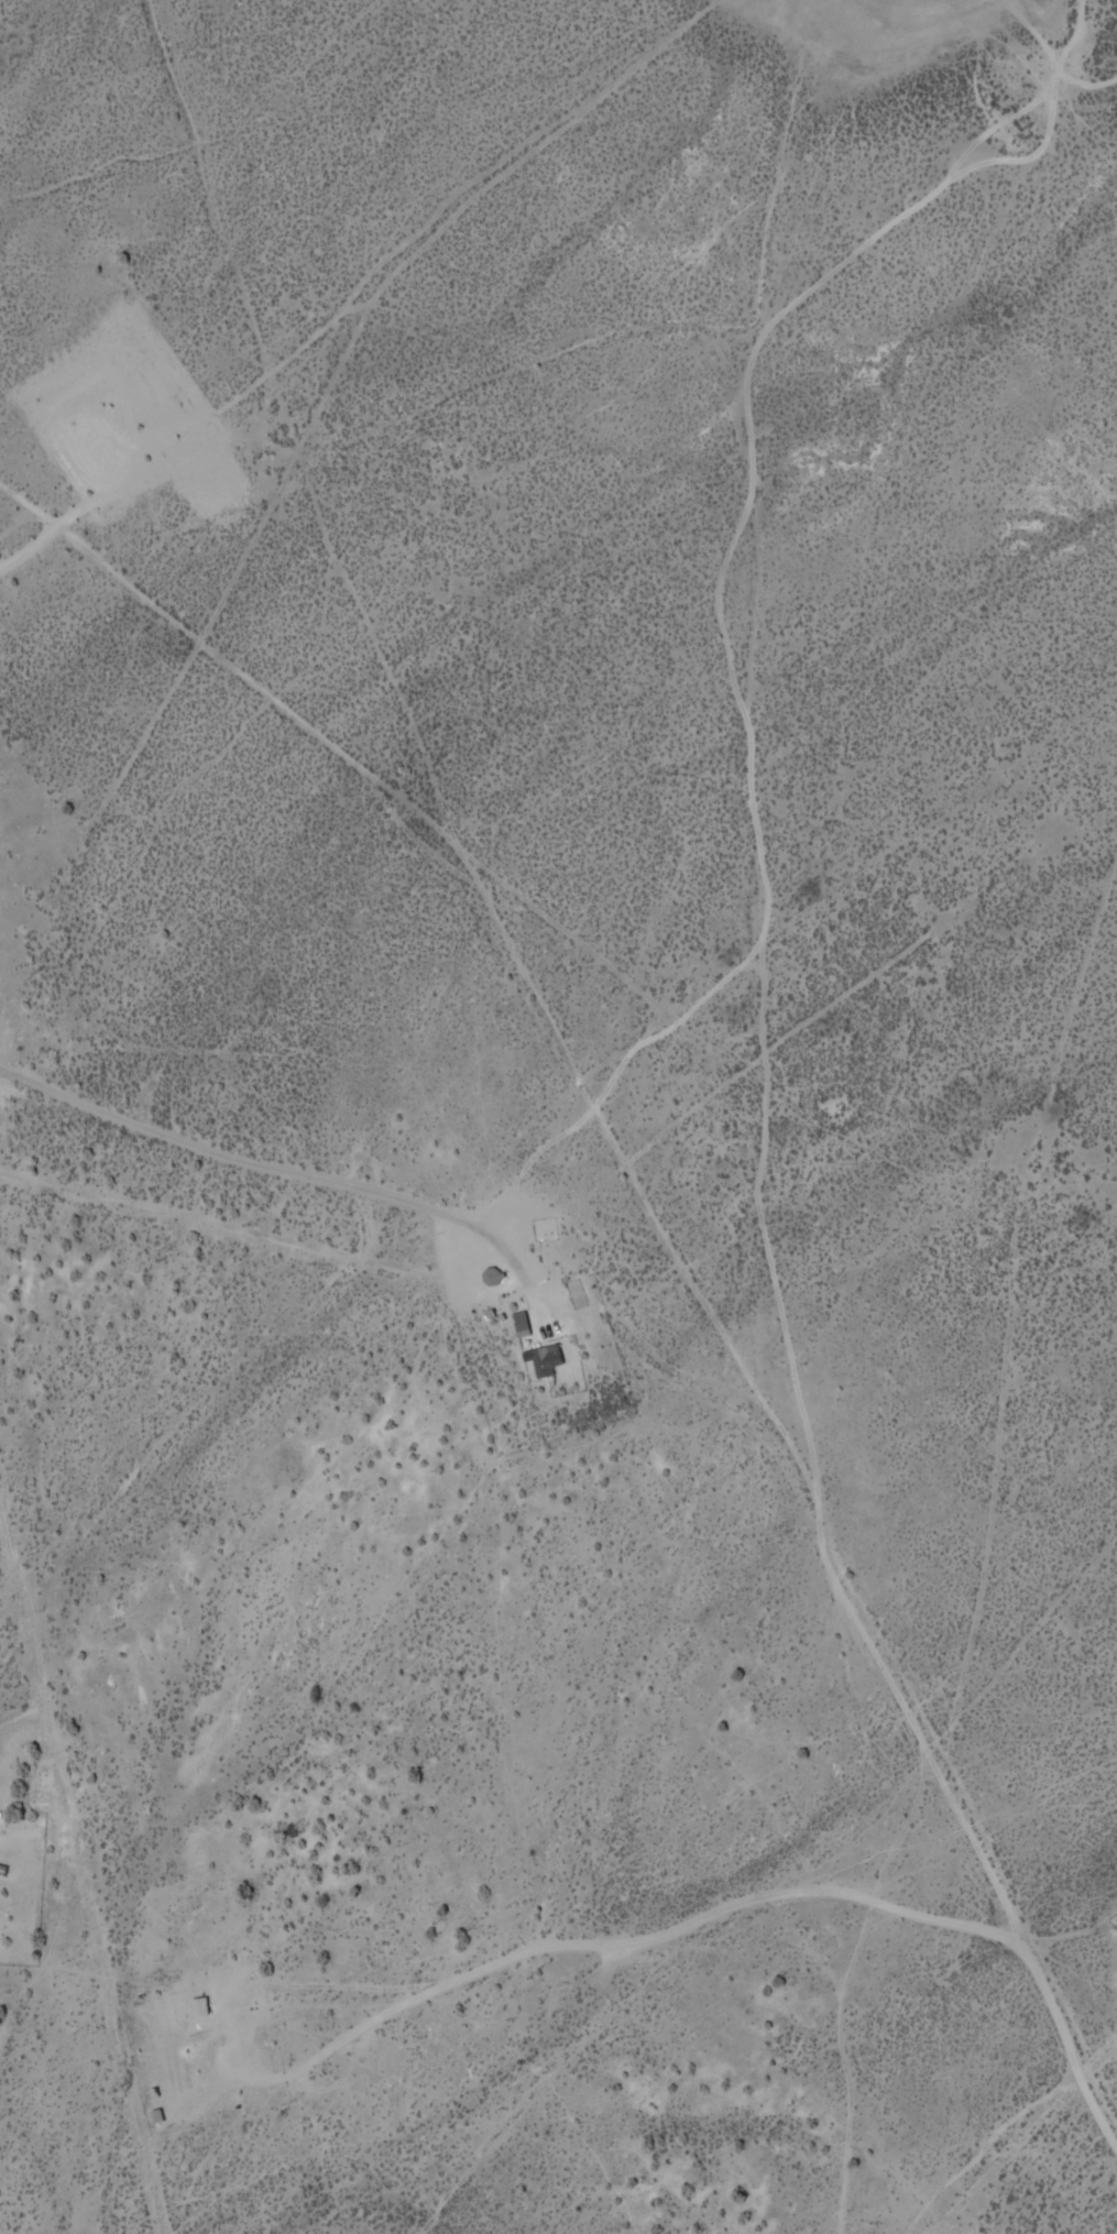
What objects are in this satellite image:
road: (647, 1241)
building: (518, 1324)
road: (357, 1378)
road: (834, 2025)
road: (1104, 2208)

